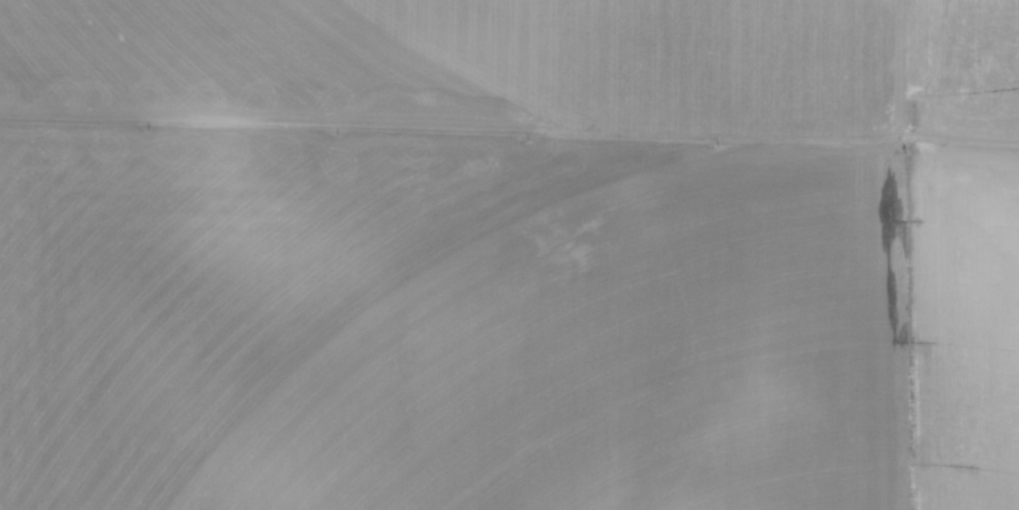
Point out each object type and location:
crop: (509, 255)

